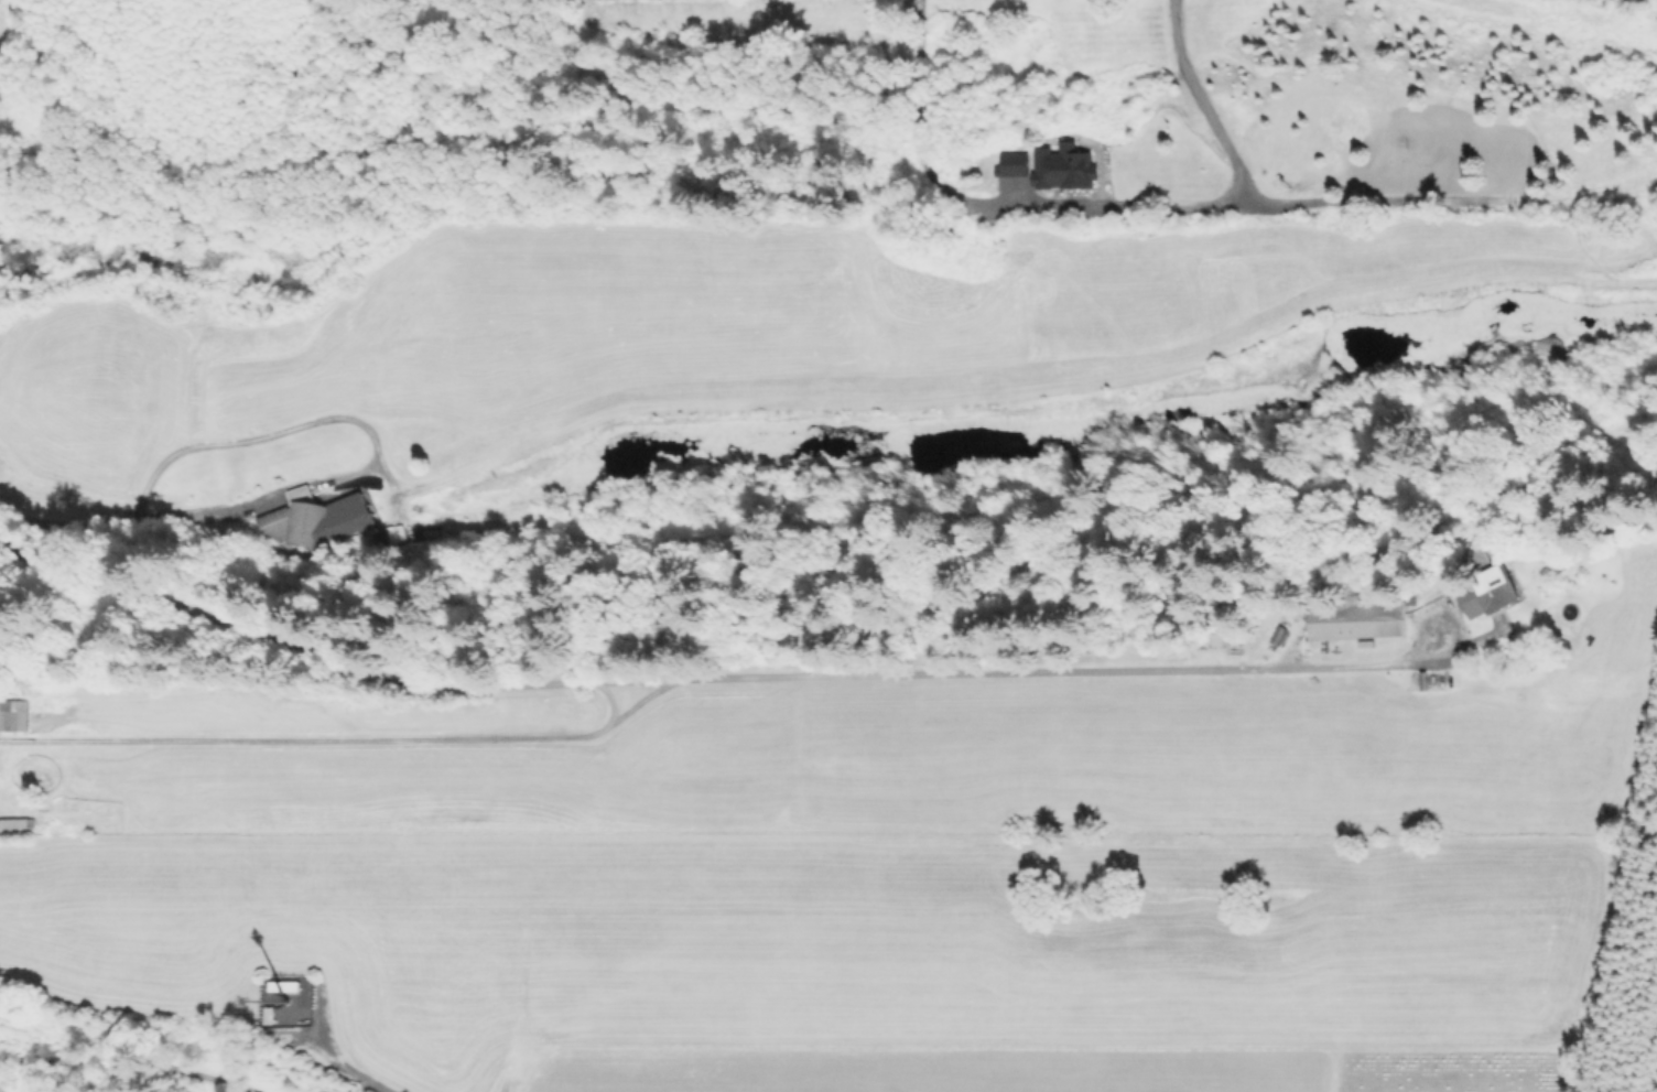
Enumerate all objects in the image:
road: (1226, 185)
building: (317, 519)
building: (1490, 593)
road: (206, 612)
building: (1357, 617)
building: (1215, 638)
road: (1010, 663)
building: (12, 724)
road: (415, 734)
building: (10, 825)
building: (280, 987)
communications tower: (273, 999)
road: (128, 1061)
road: (349, 1070)

